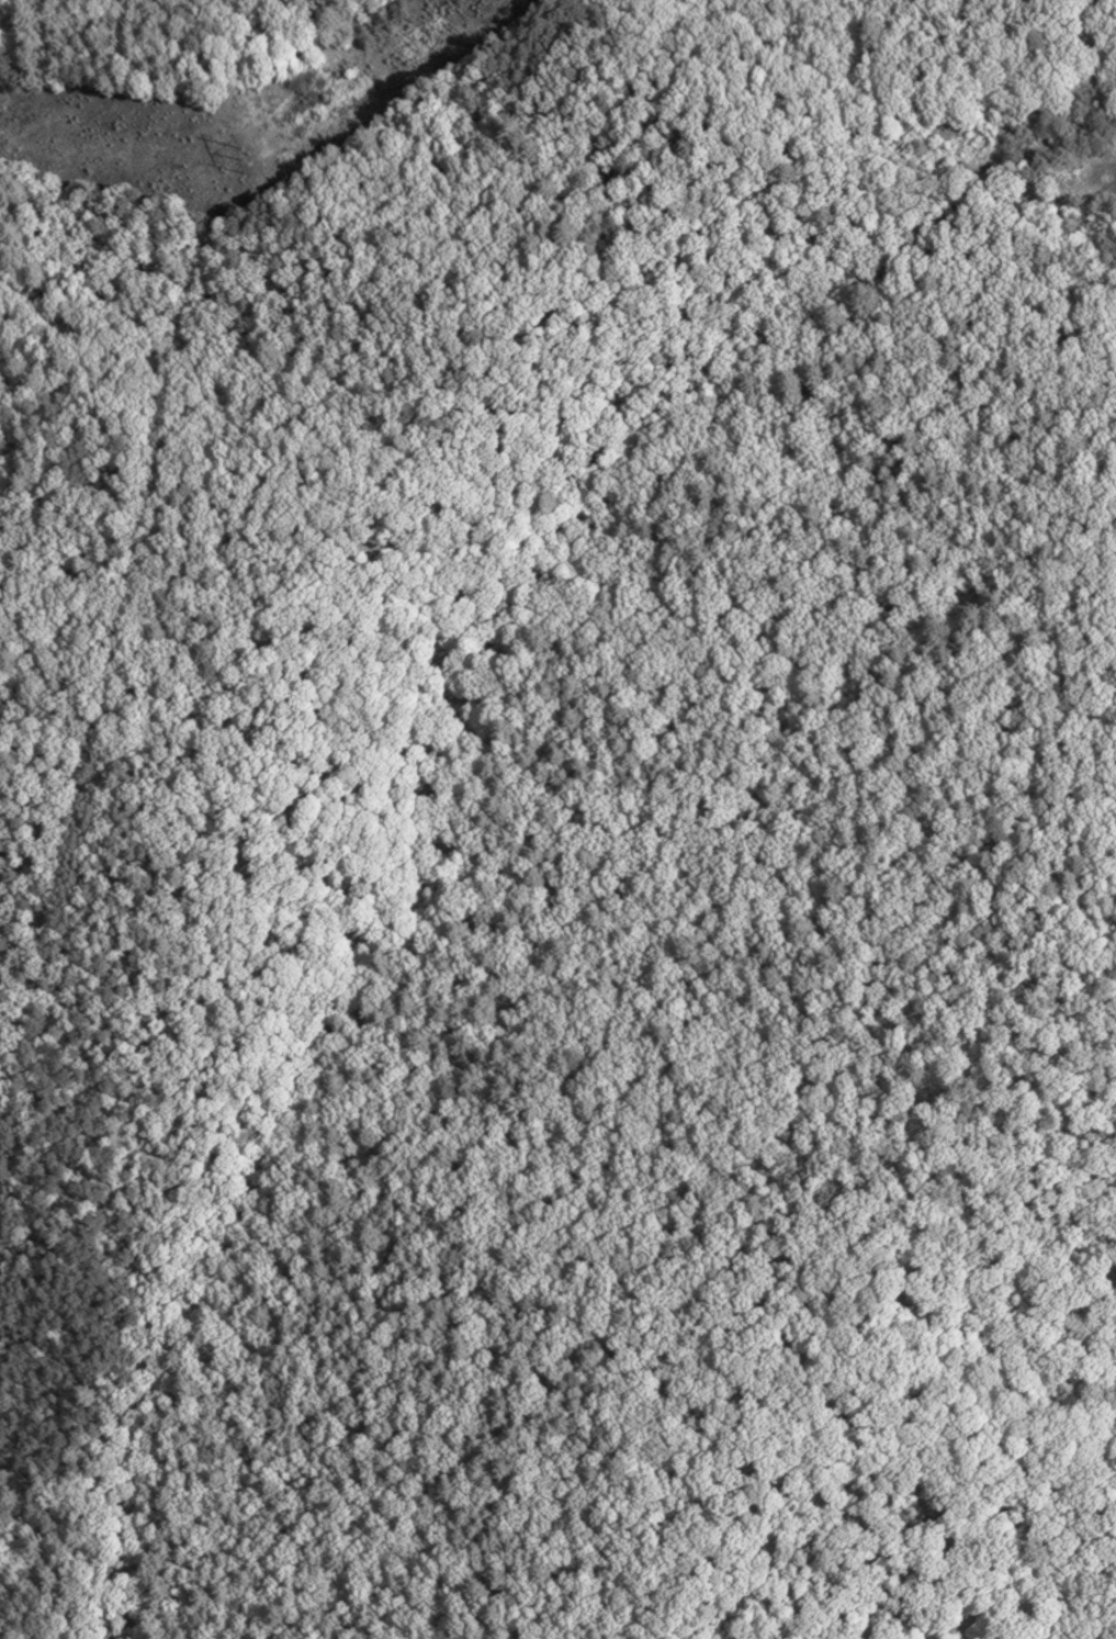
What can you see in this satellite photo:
power tower: (241, 160)

